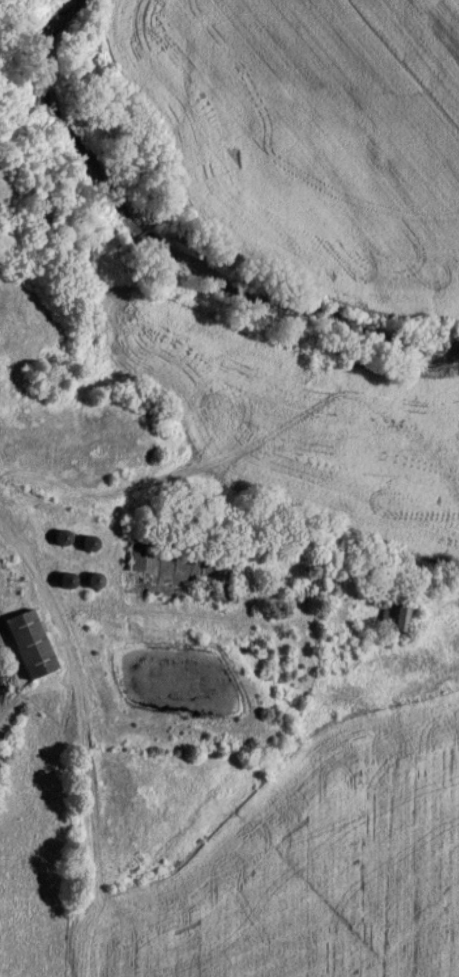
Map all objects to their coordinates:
road: (16, 550)
building: (140, 554)
building: (403, 617)
building: (39, 646)

